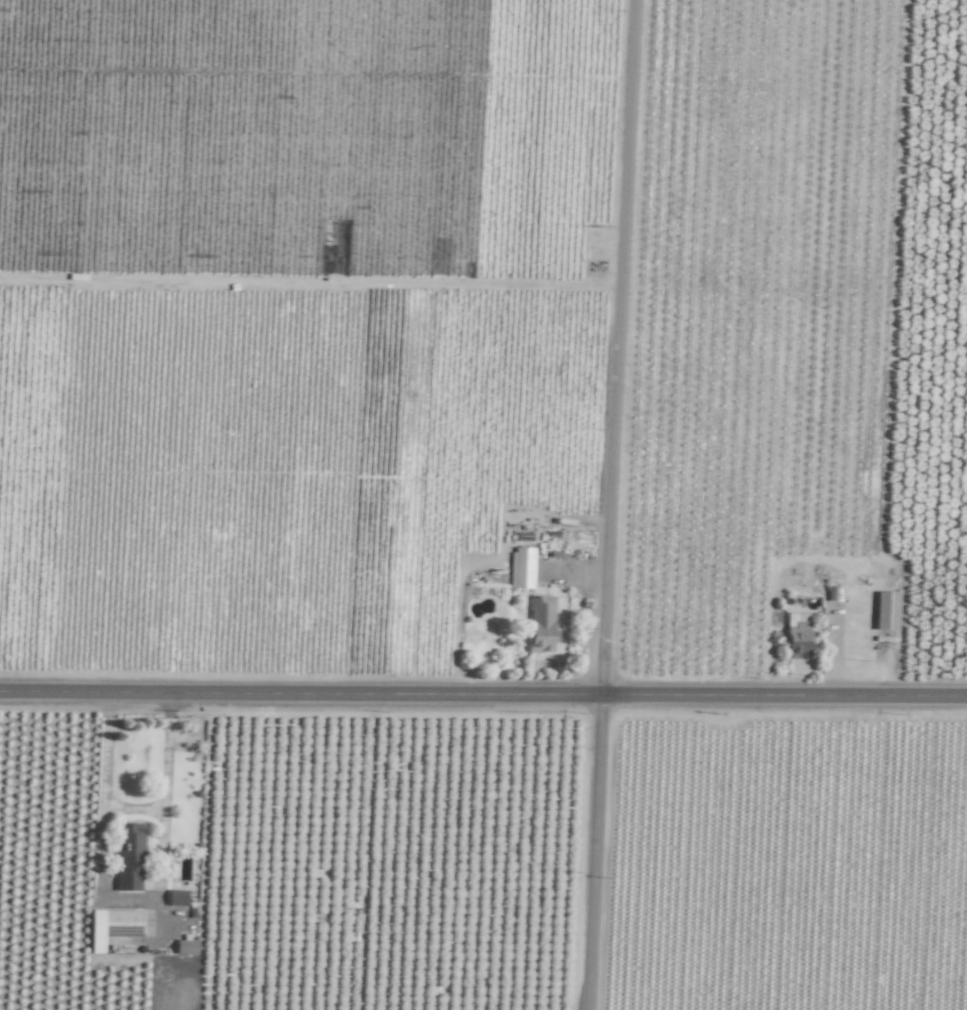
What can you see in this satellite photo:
road: (609, 504)
building: (521, 567)
building: (887, 610)
building: (541, 624)
building: (798, 635)
road: (483, 694)
road: (134, 814)
building: (129, 857)
building: (177, 897)
road: (131, 900)
building: (113, 926)
building: (186, 947)

